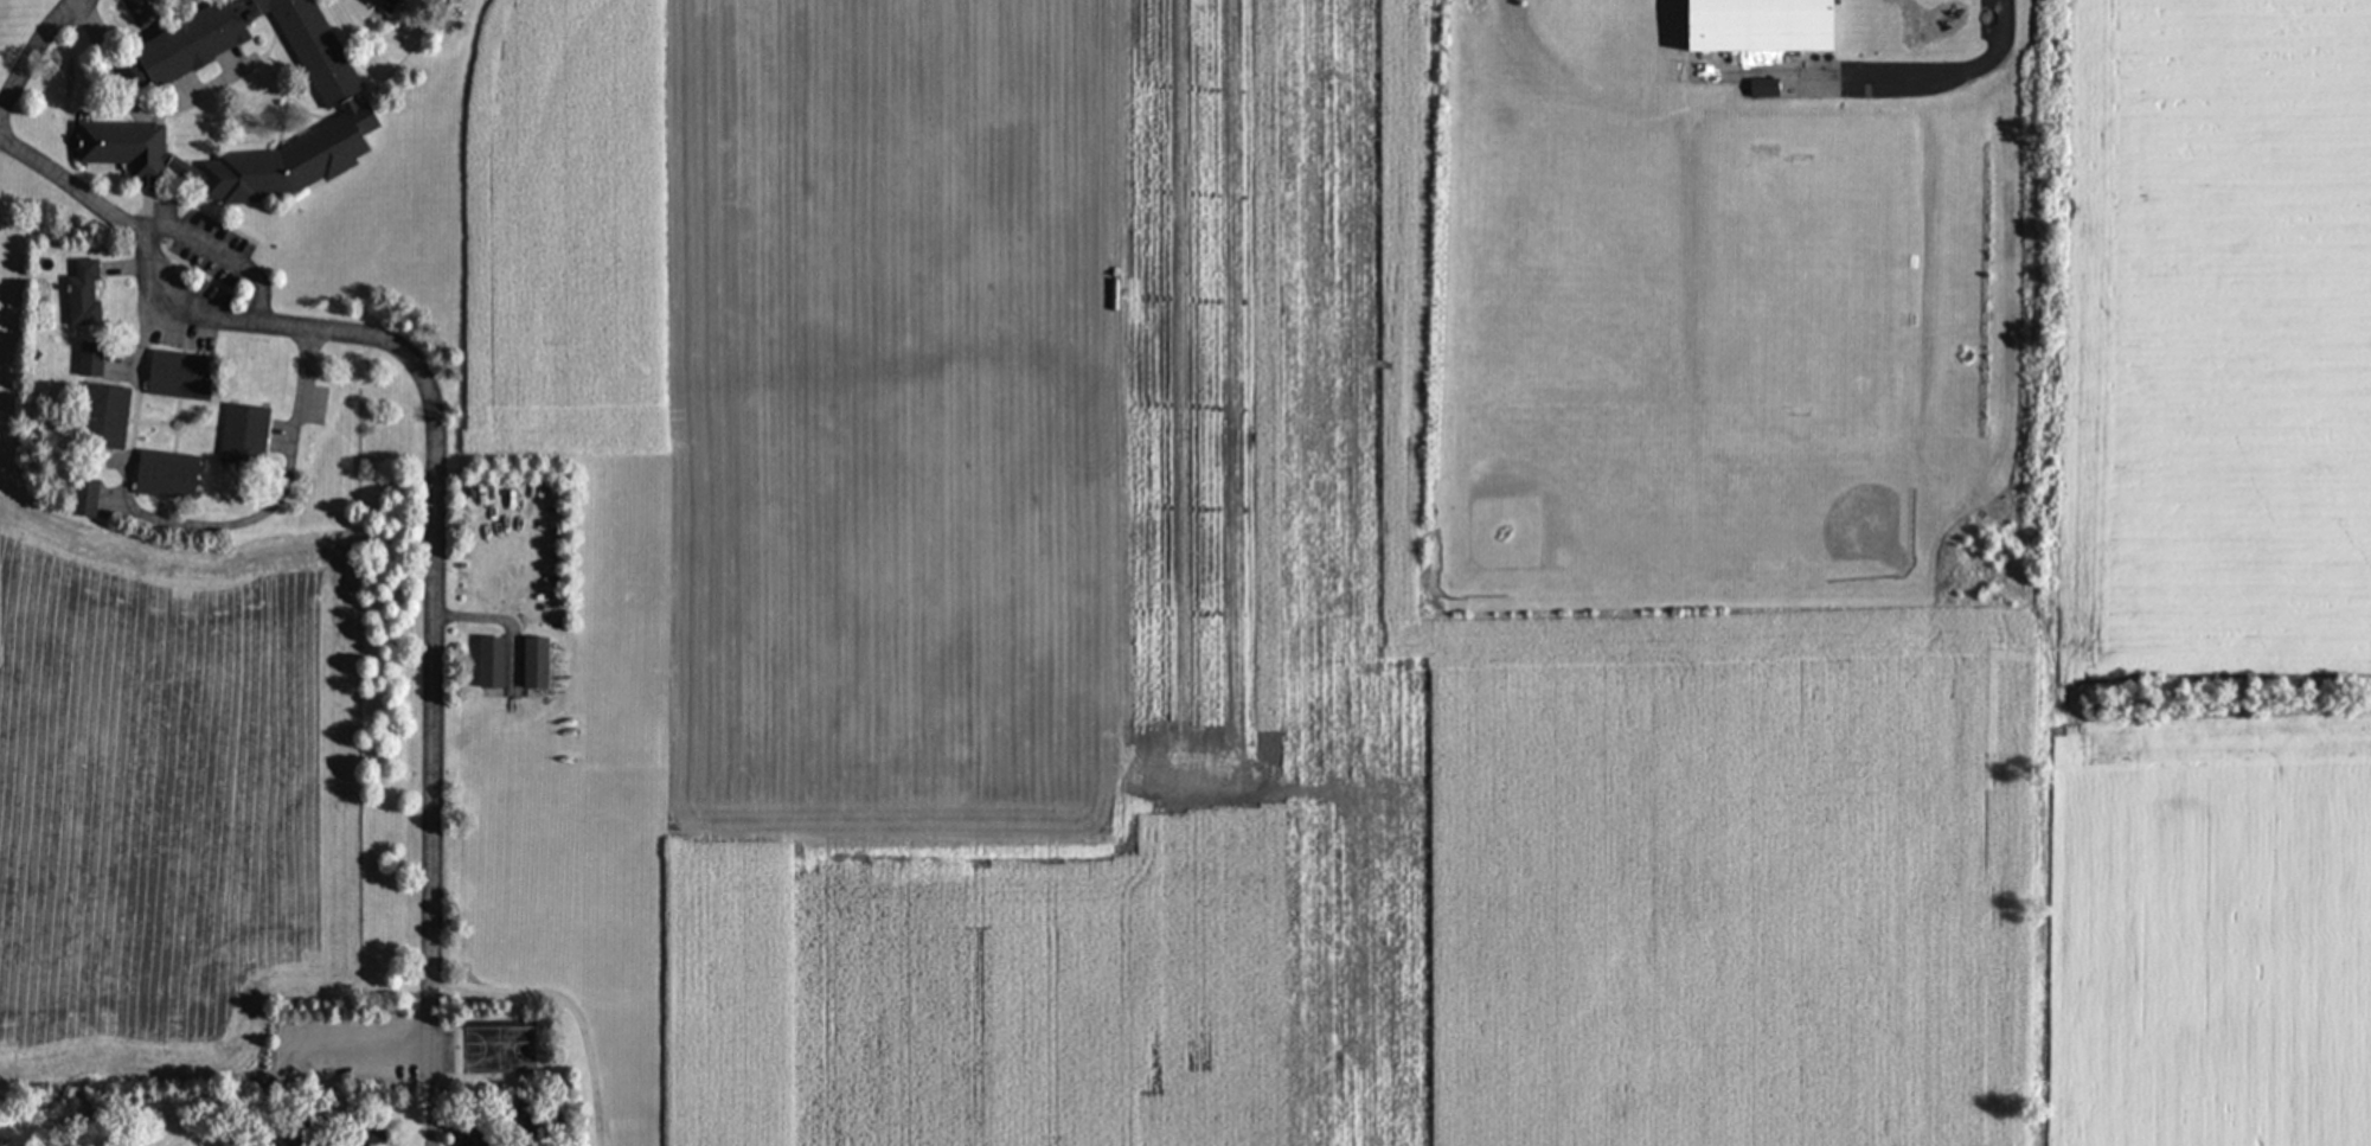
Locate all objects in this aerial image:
building: (395, 2)
building: (1751, 26)
road: (33, 51)
road: (1922, 75)
building: (1756, 89)
building: (354, 108)
road: (223, 243)
building: (89, 293)
building: (95, 358)
building: (186, 374)
building: (108, 416)
building: (246, 435)
building: (172, 474)
road: (156, 524)
road: (440, 563)
building: (495, 660)
building: (539, 661)
road: (341, 1045)
road: (425, 1095)

